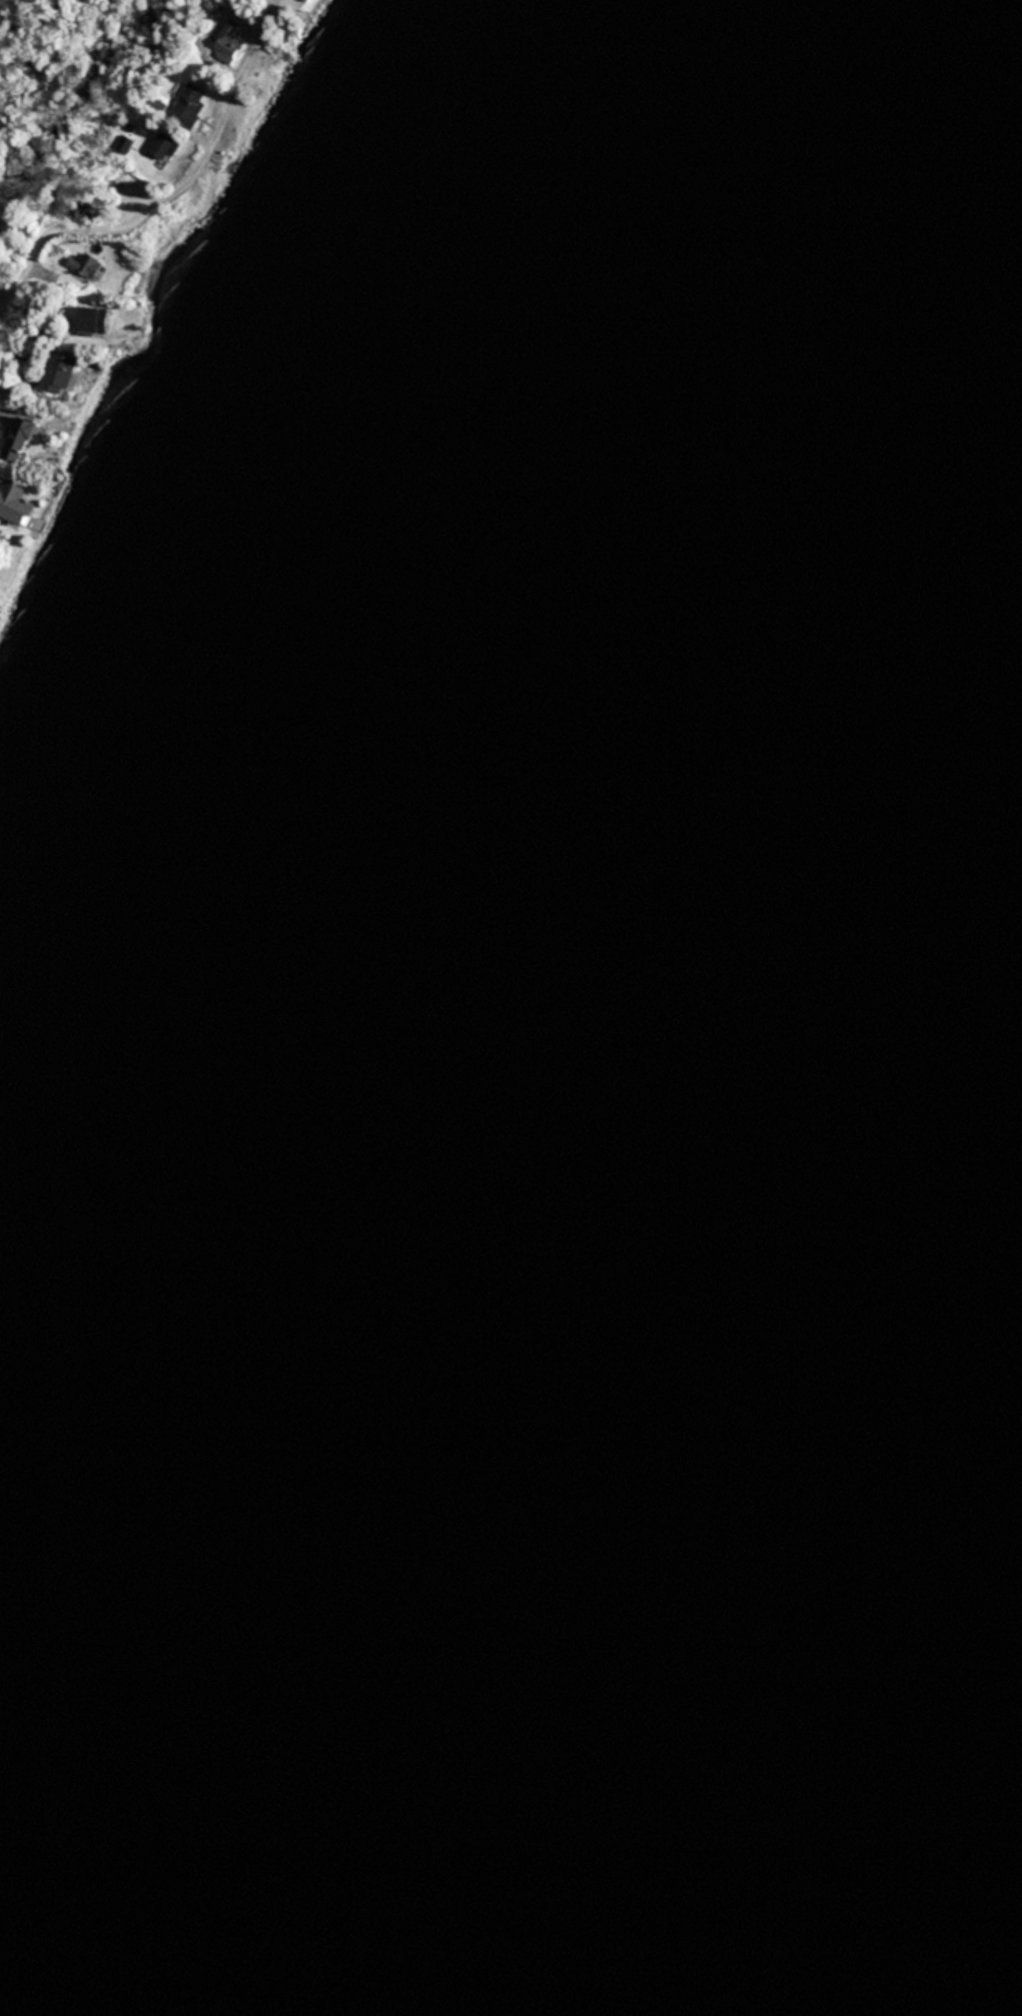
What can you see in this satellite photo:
building: (305, 0)
building: (228, 42)
building: (188, 104)
building: (165, 149)
road: (168, 198)
building: (85, 263)
building: (127, 317)
building: (61, 374)
building: (25, 440)
building: (16, 504)

